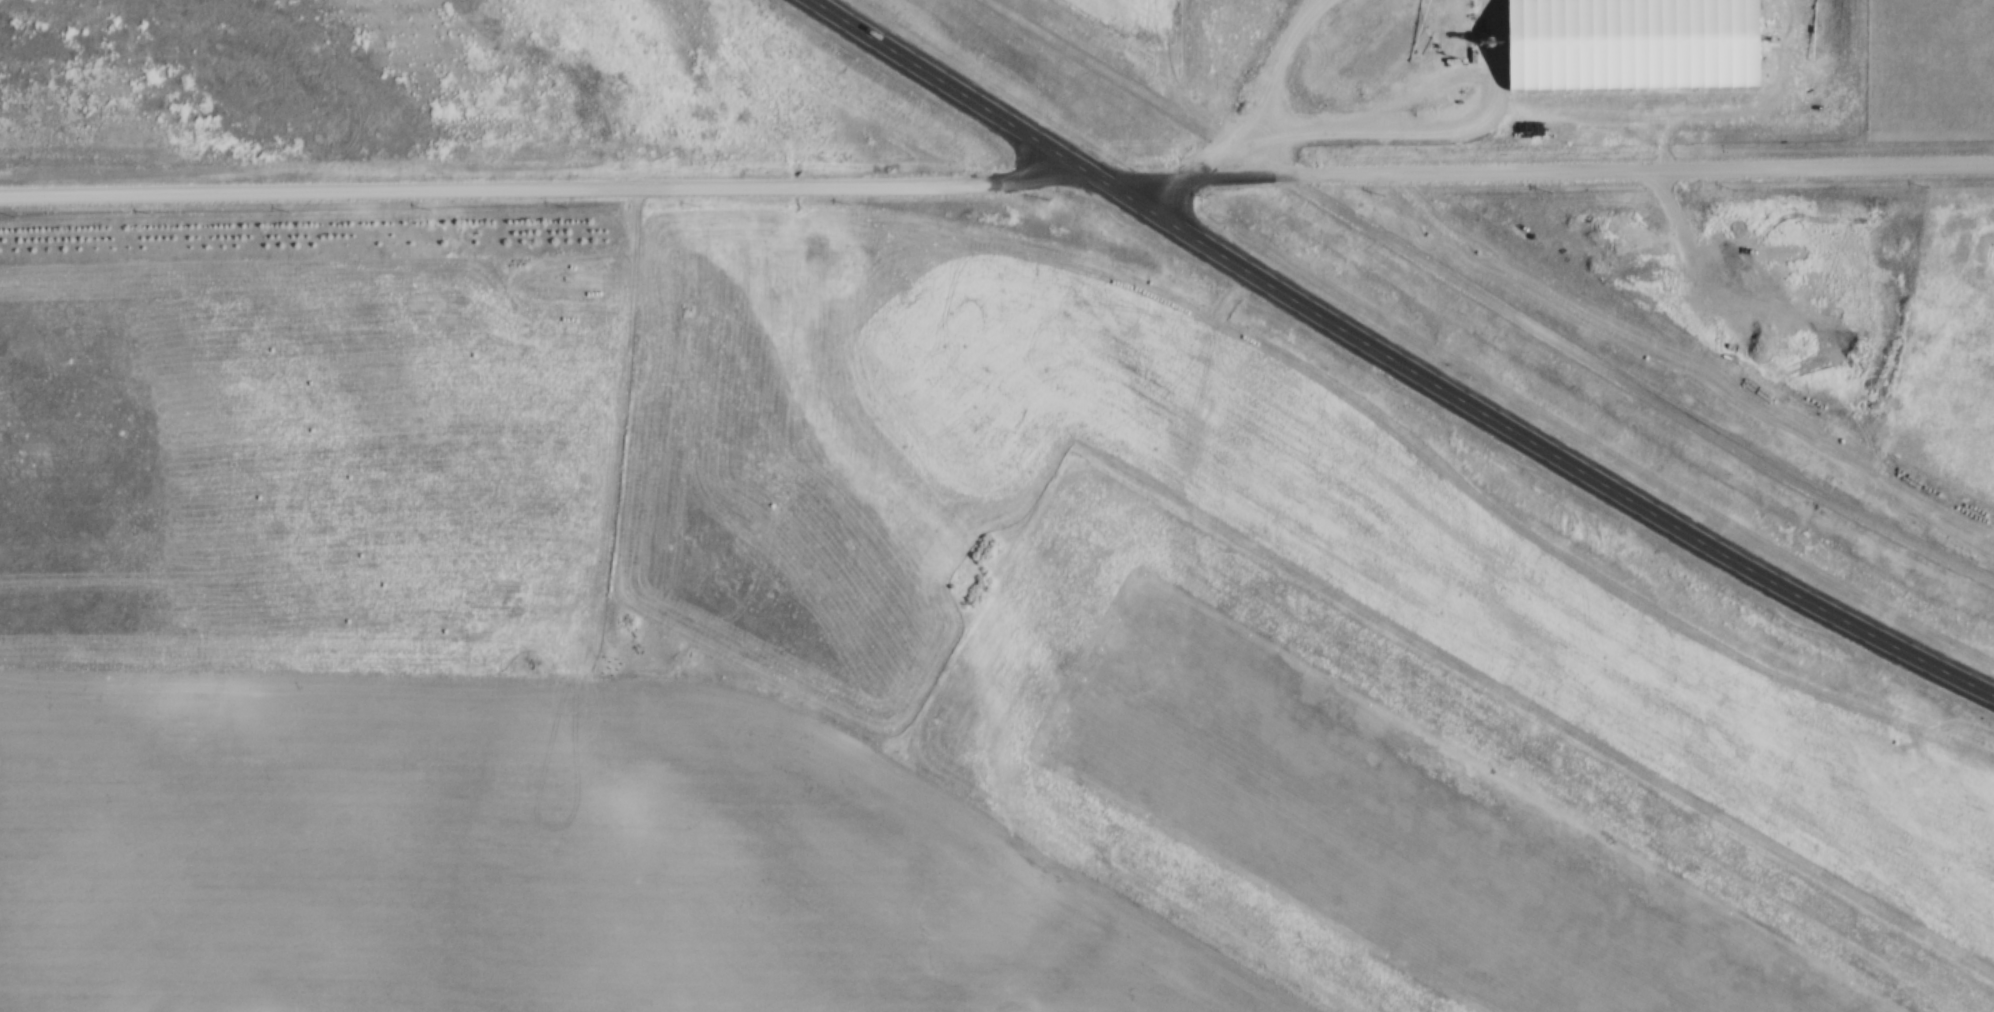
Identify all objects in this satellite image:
building: (1628, 45)
road: (1562, 172)
road: (535, 189)
road: (1489, 298)
road: (1398, 359)
airport: (1373, 785)
airport runway: (1388, 835)

